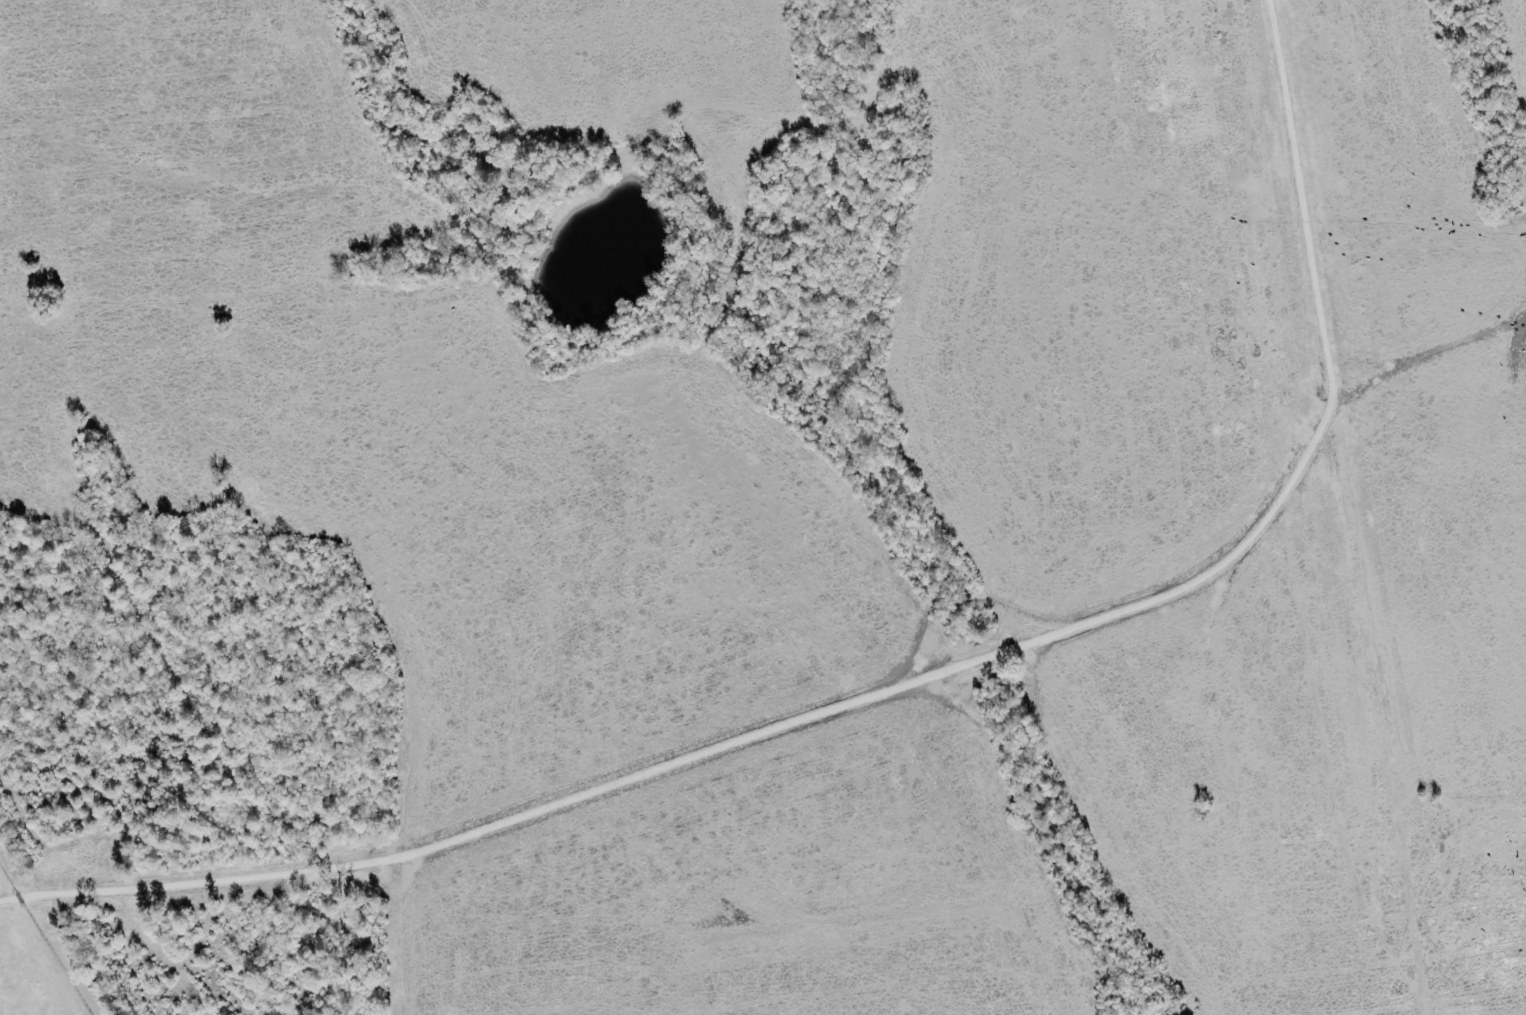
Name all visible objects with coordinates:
road: (1346, 507)

